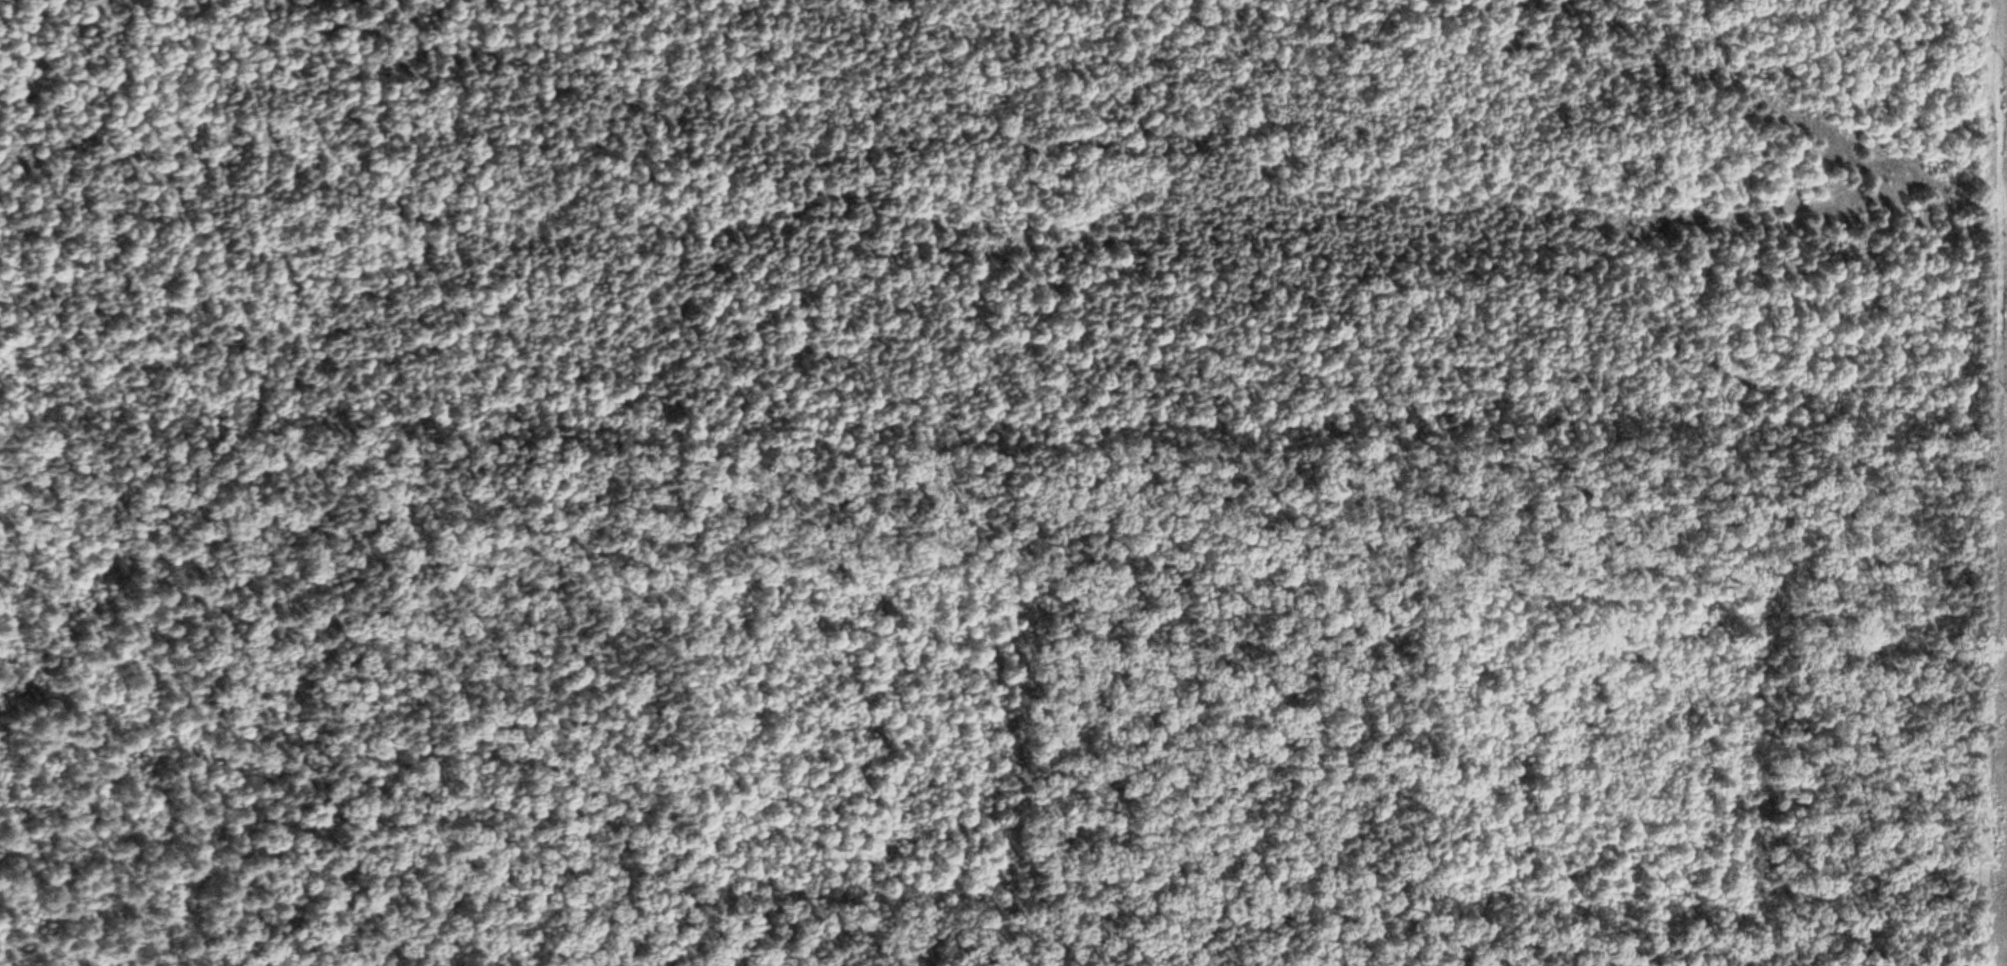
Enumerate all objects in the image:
road: (1995, 184)
road: (258, 495)
road: (1991, 667)

